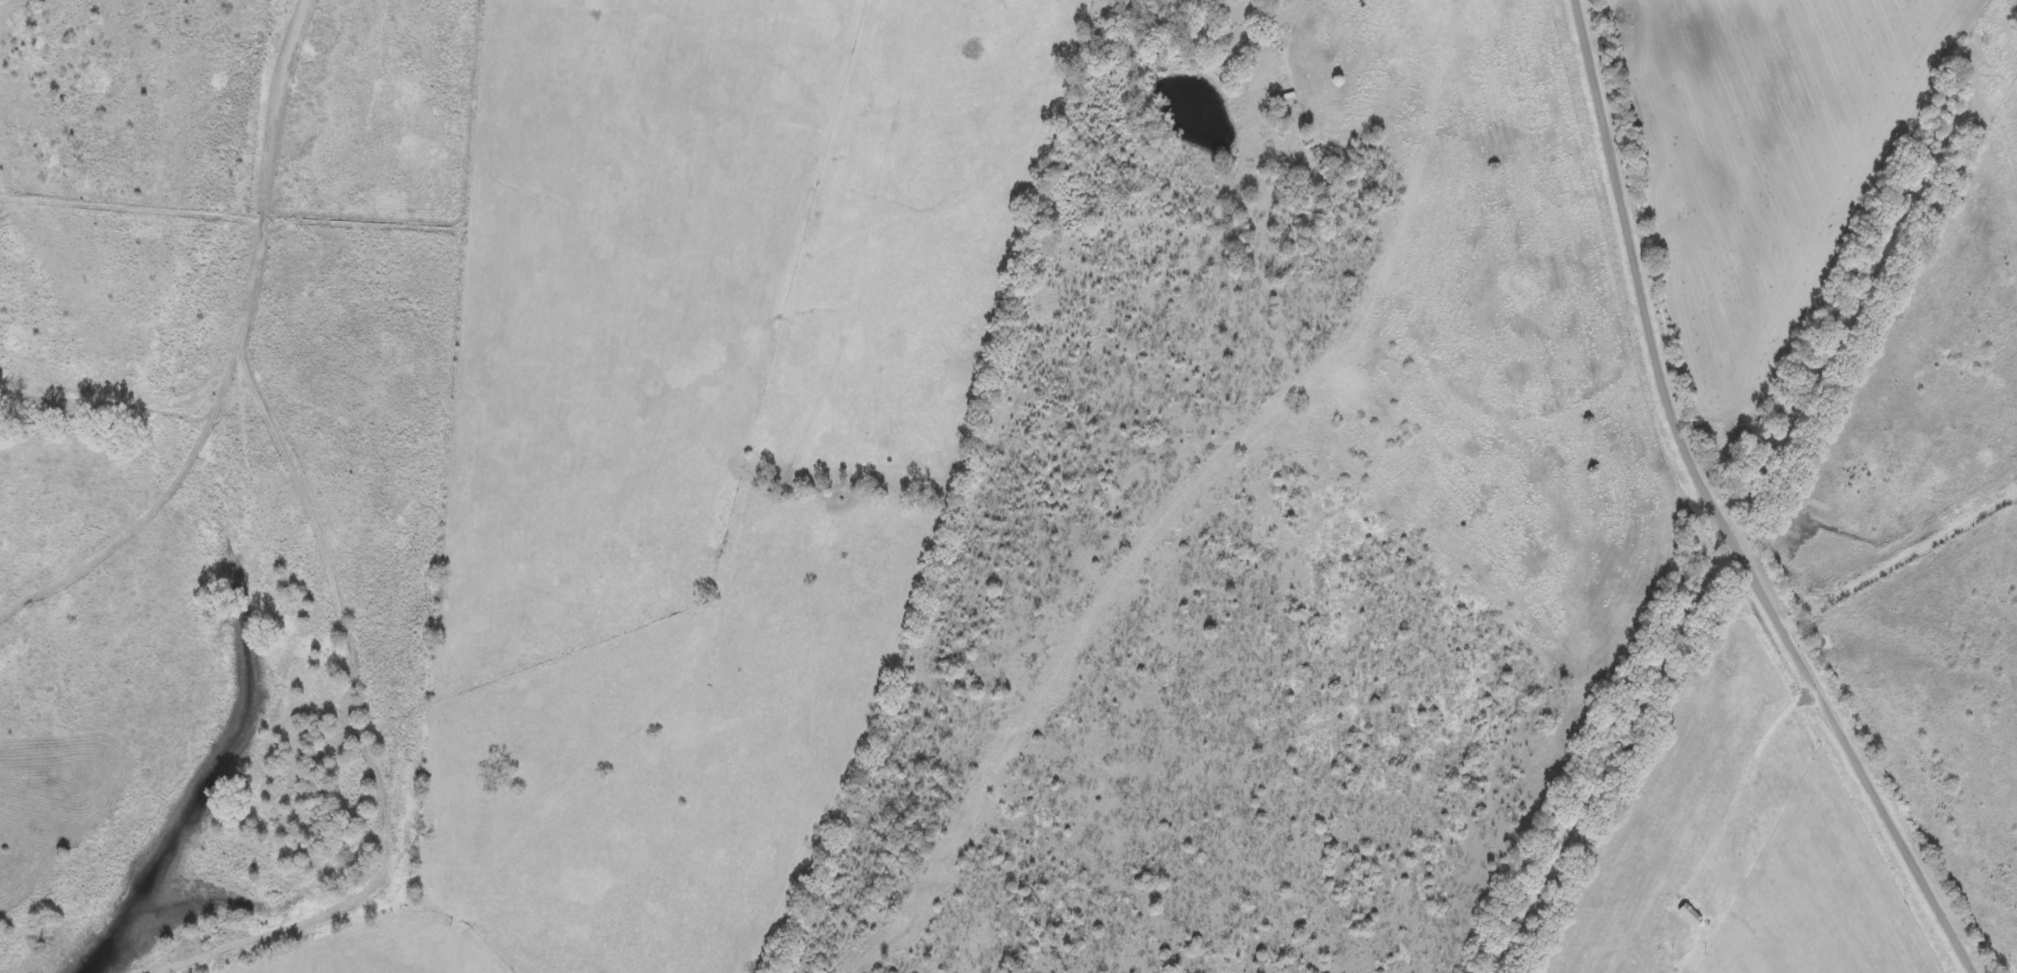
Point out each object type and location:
railway: (1756, 493)
road: (1722, 510)
building: (1690, 916)

